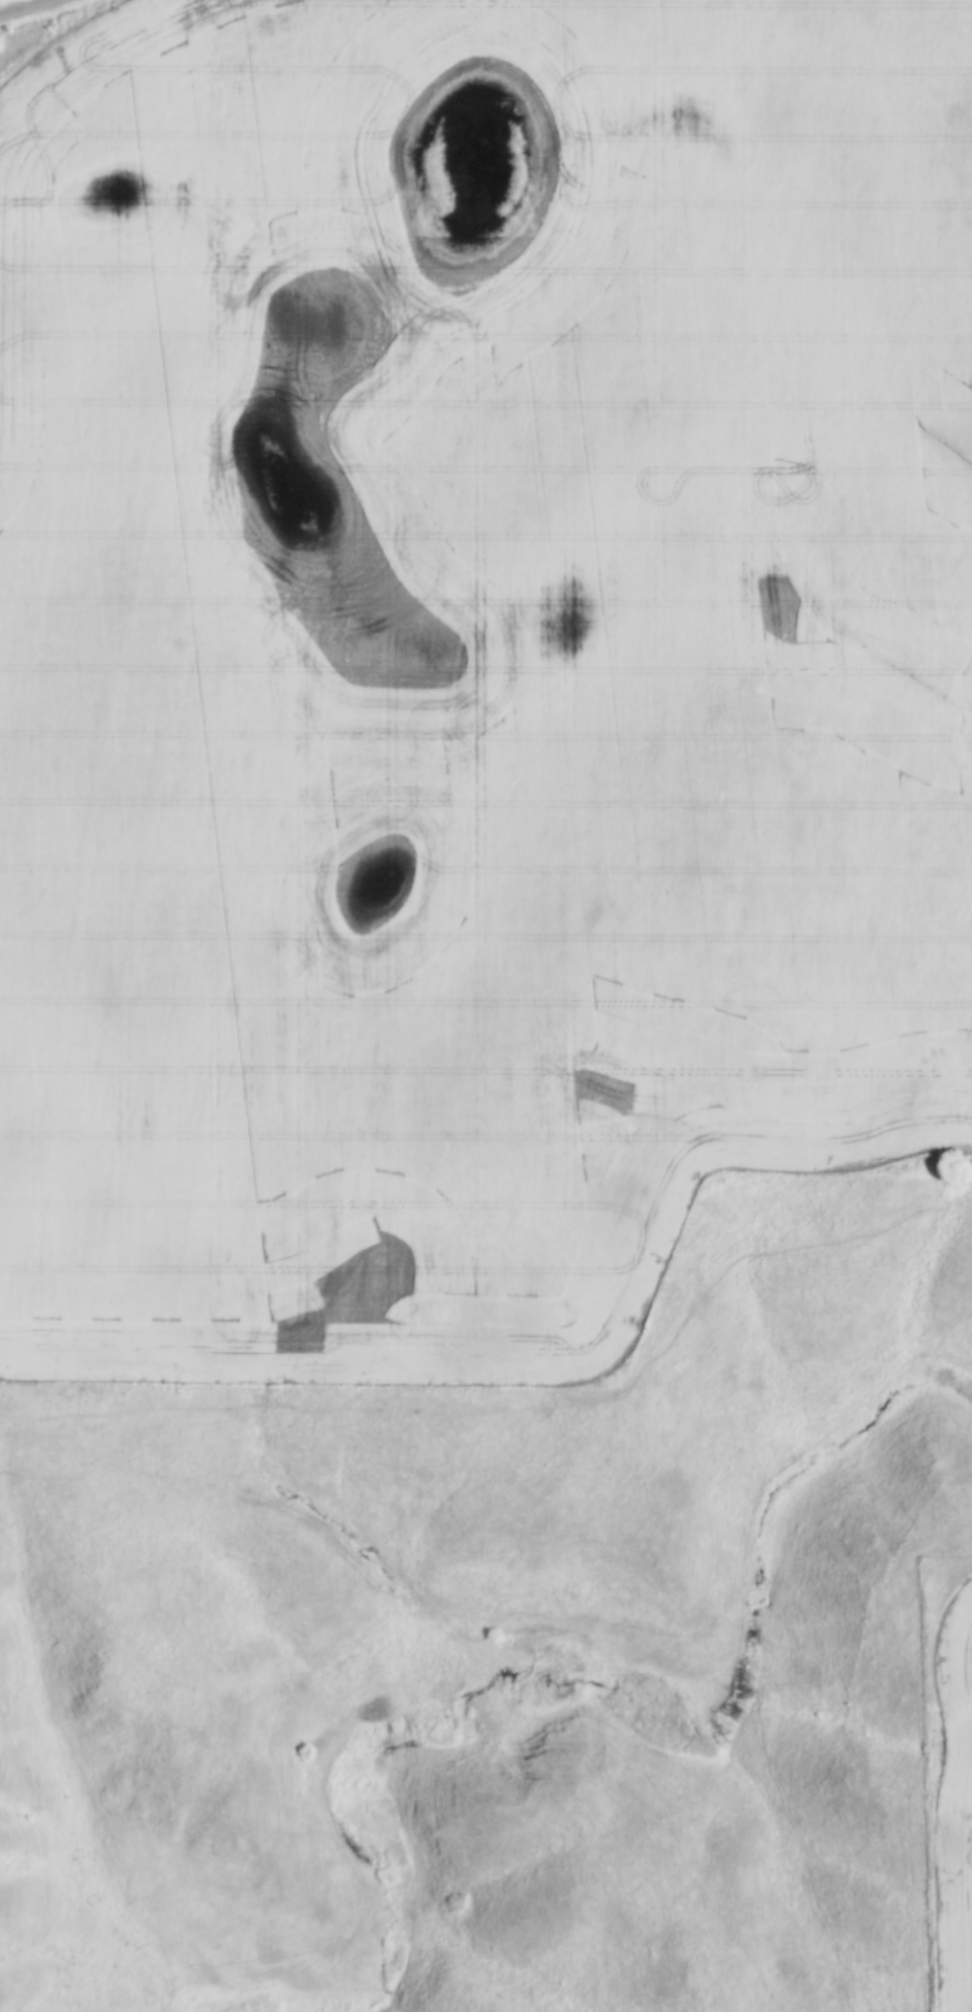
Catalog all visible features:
road: (15, 4)

